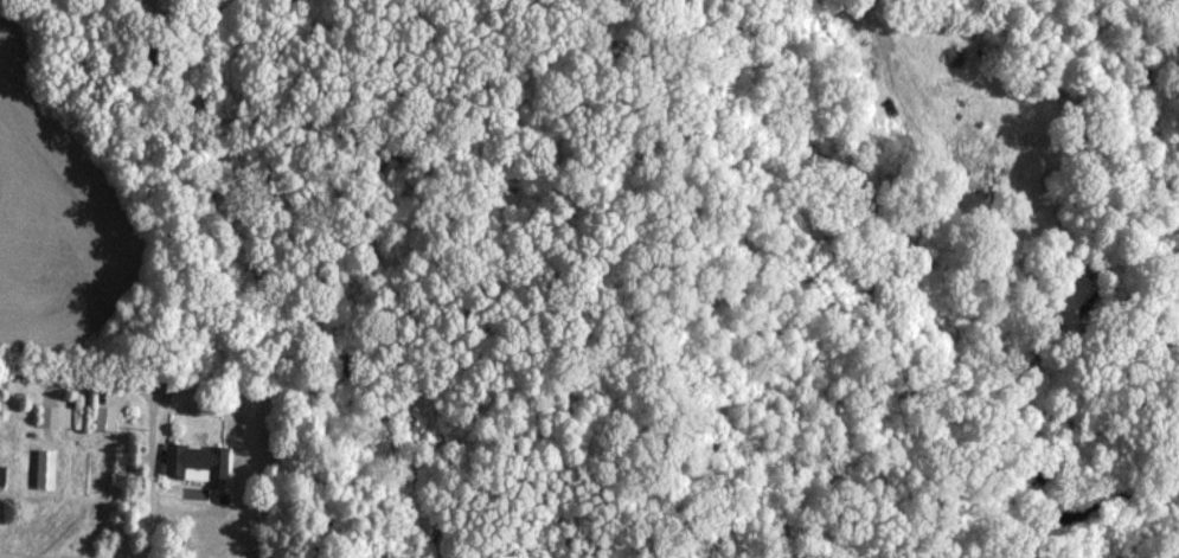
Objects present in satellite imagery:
road: (872, 4)
building: (58, 416)
building: (105, 417)
building: (198, 460)
building: (47, 468)

